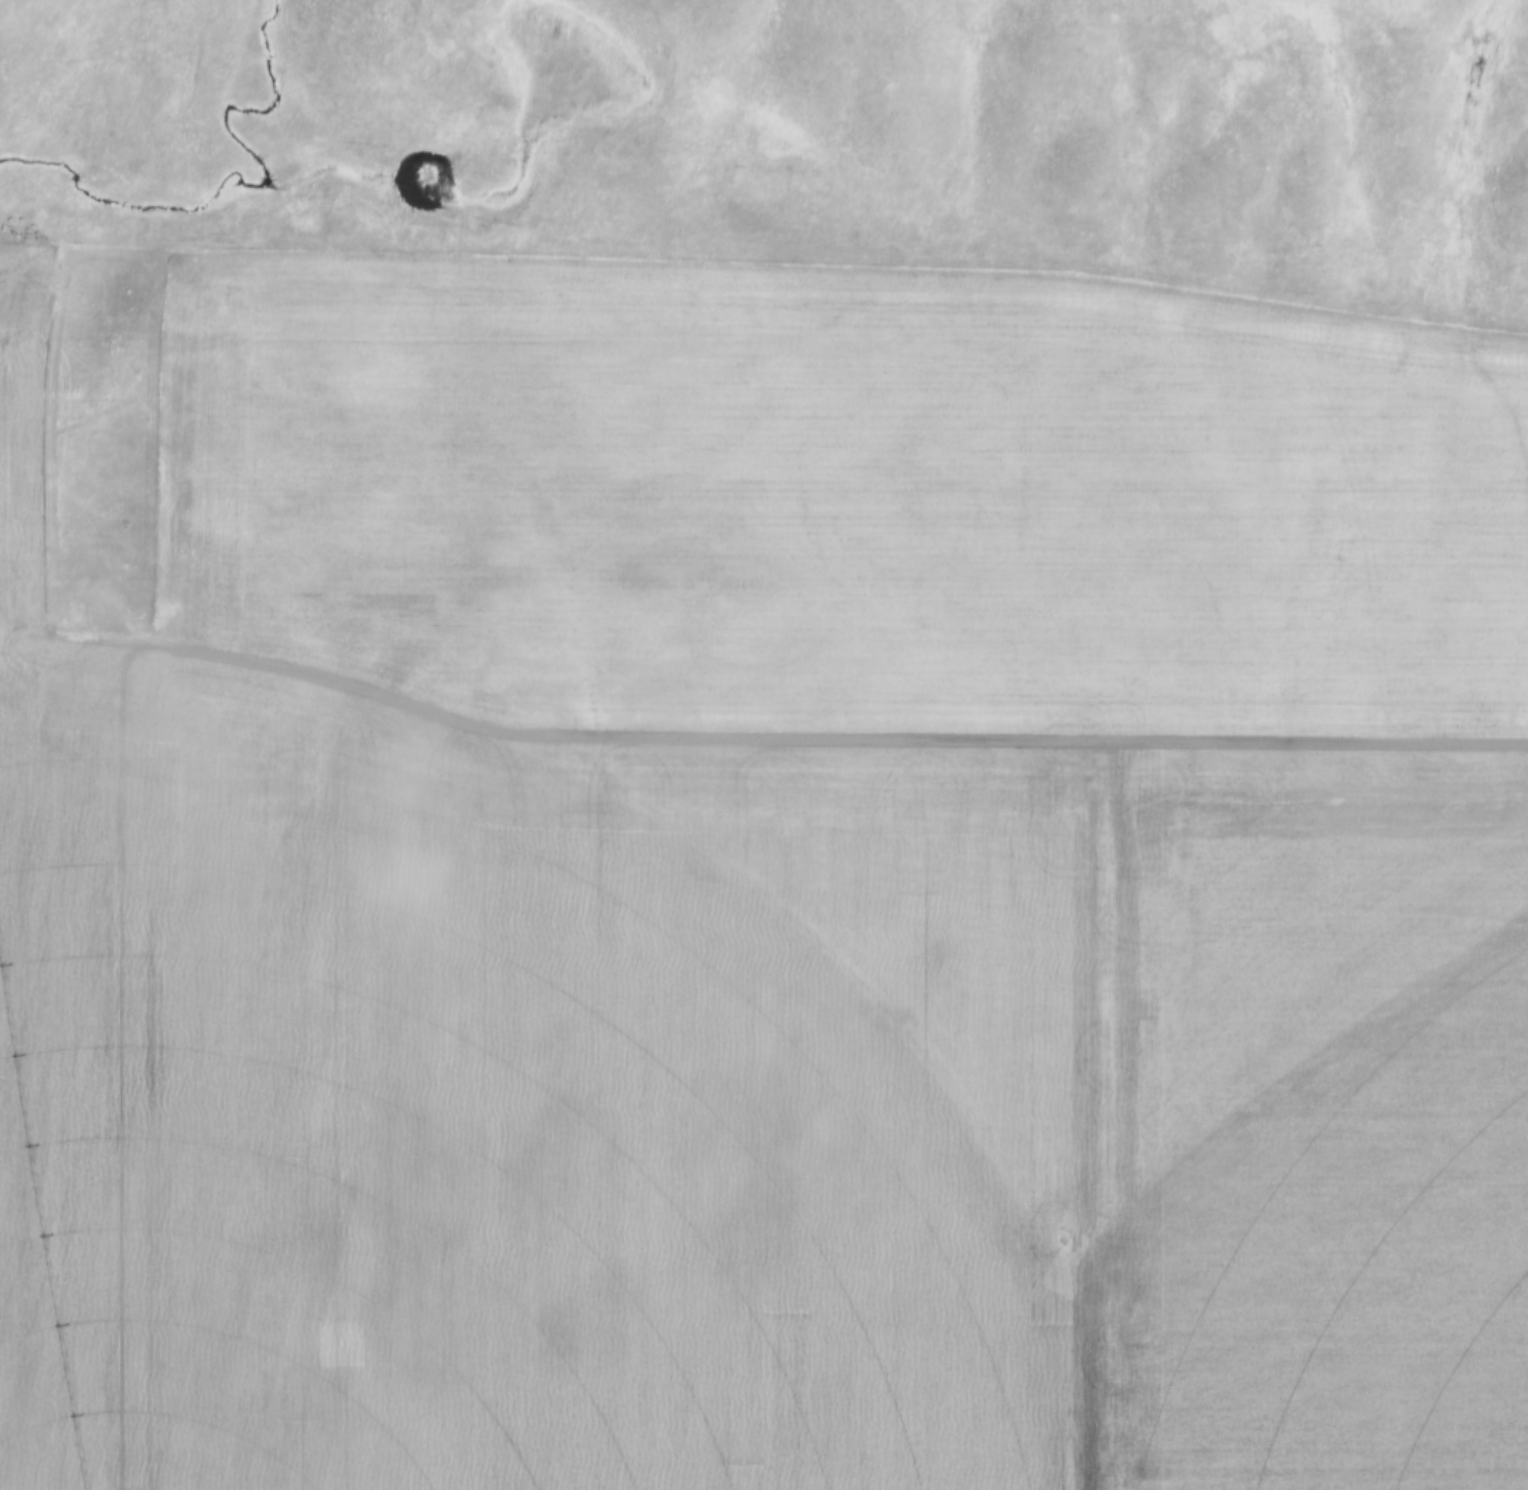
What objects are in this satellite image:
road: (1025, 740)

